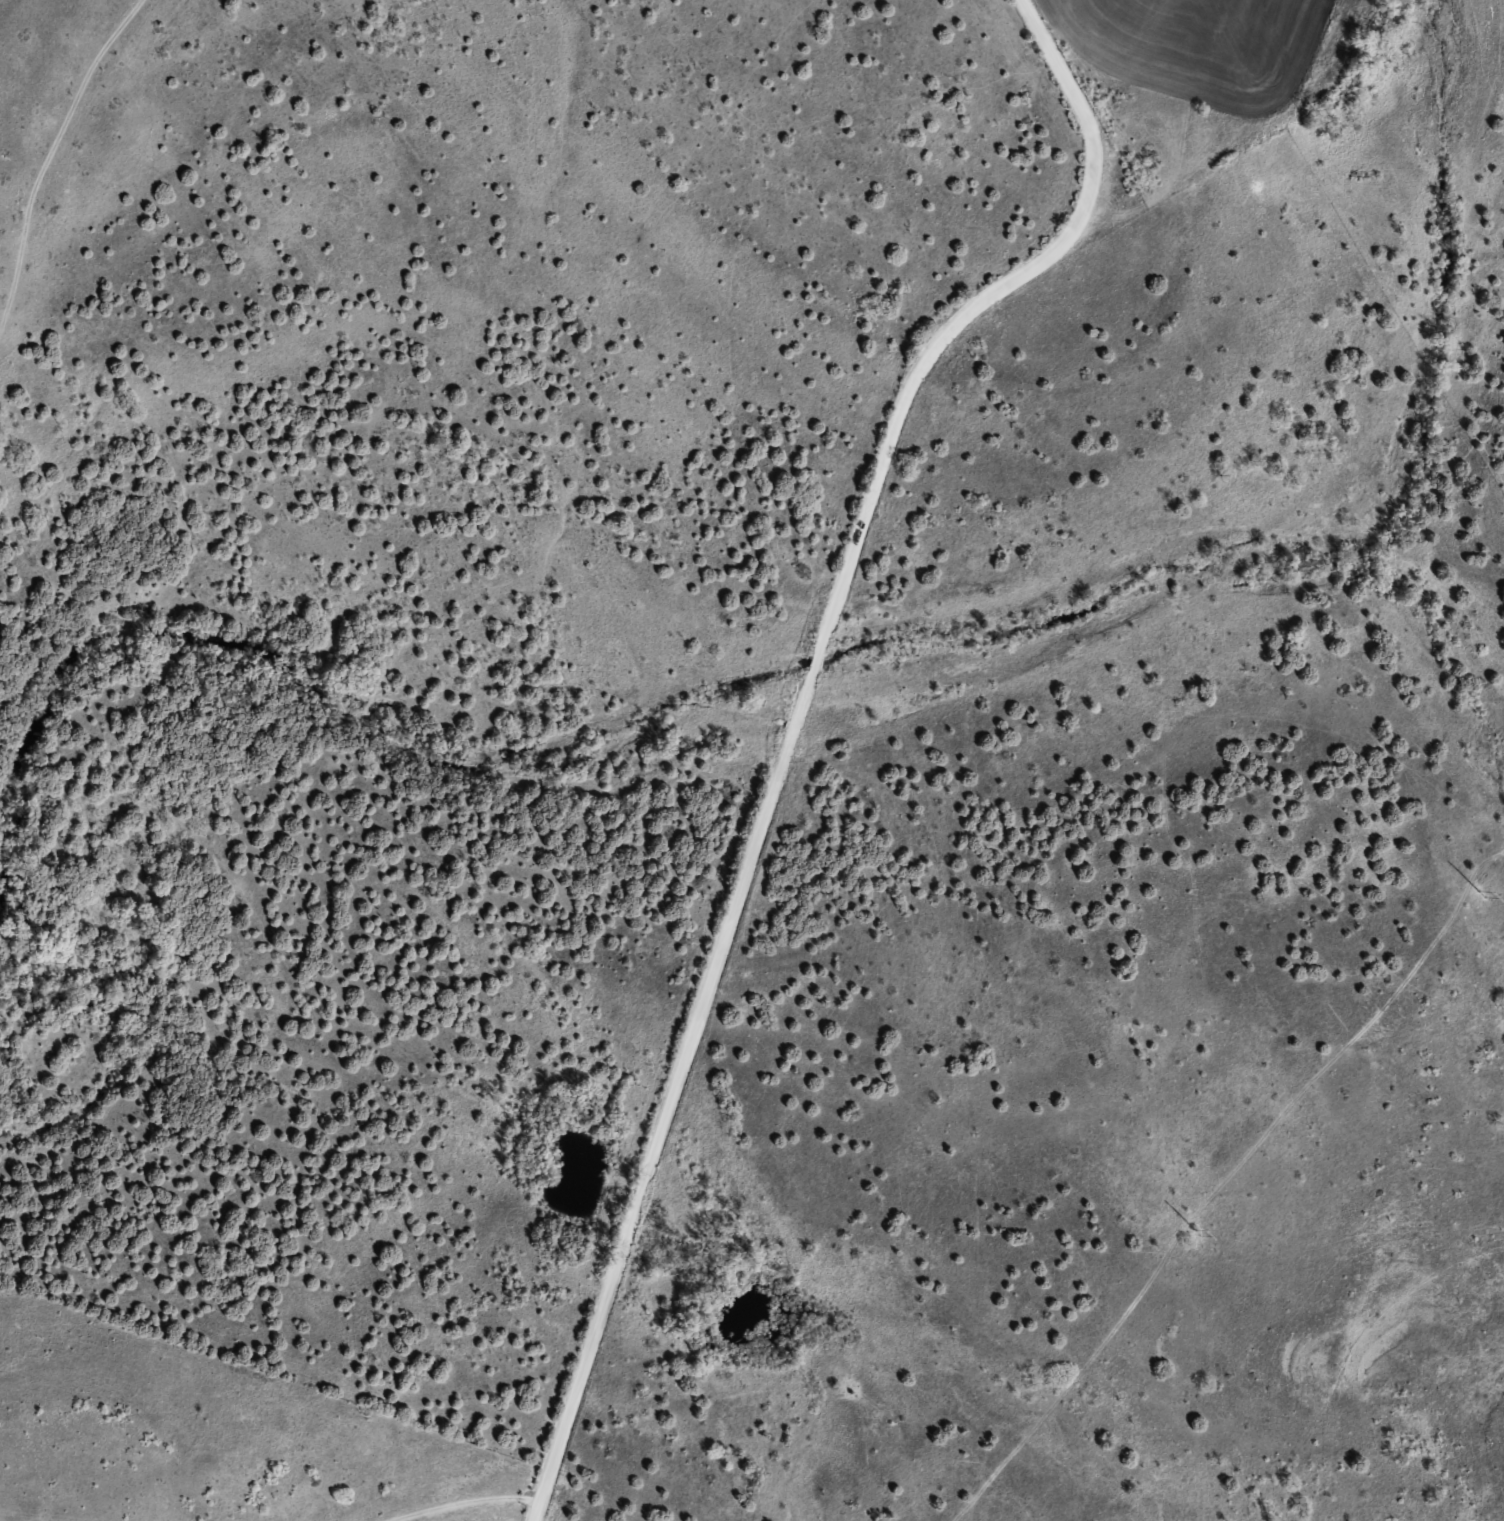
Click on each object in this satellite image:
road: (125, 125)
road: (794, 722)
power tower: (1480, 893)
power tower: (1196, 1231)

